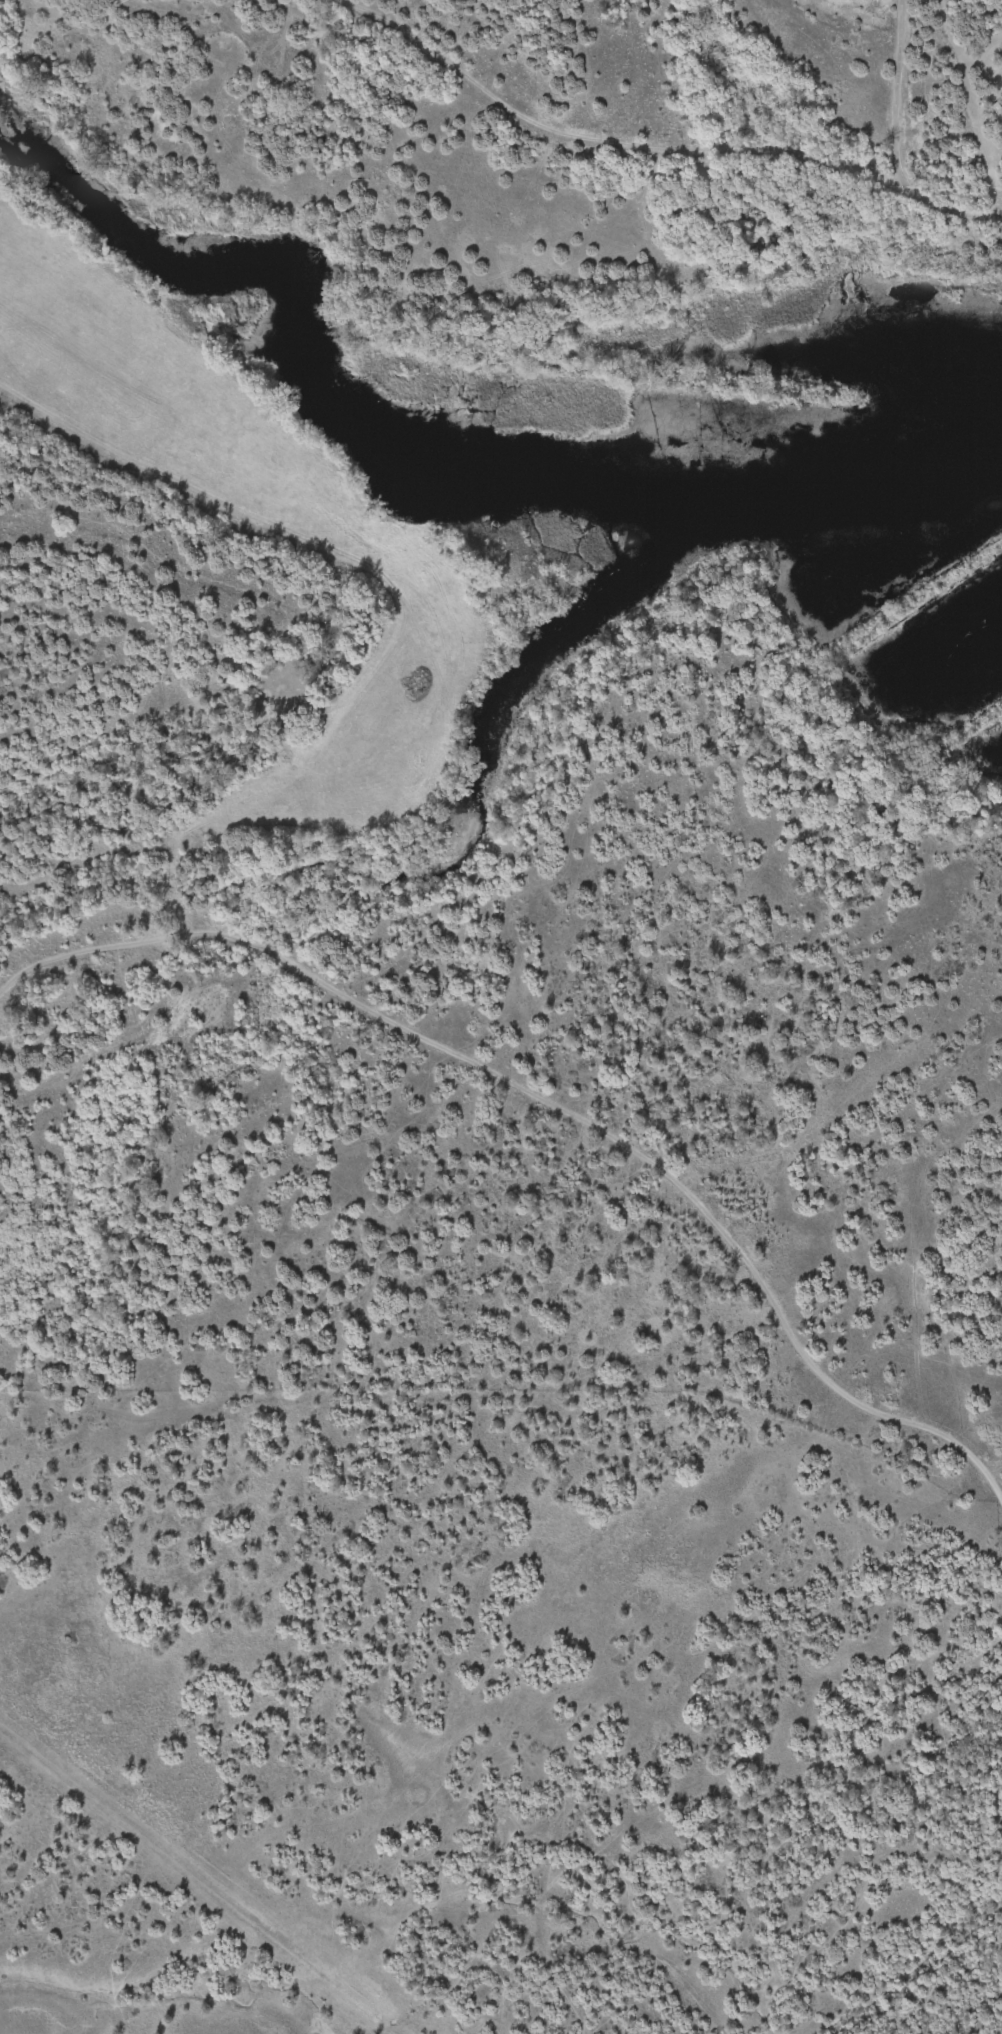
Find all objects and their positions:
road: (883, 73)
road: (930, 196)

